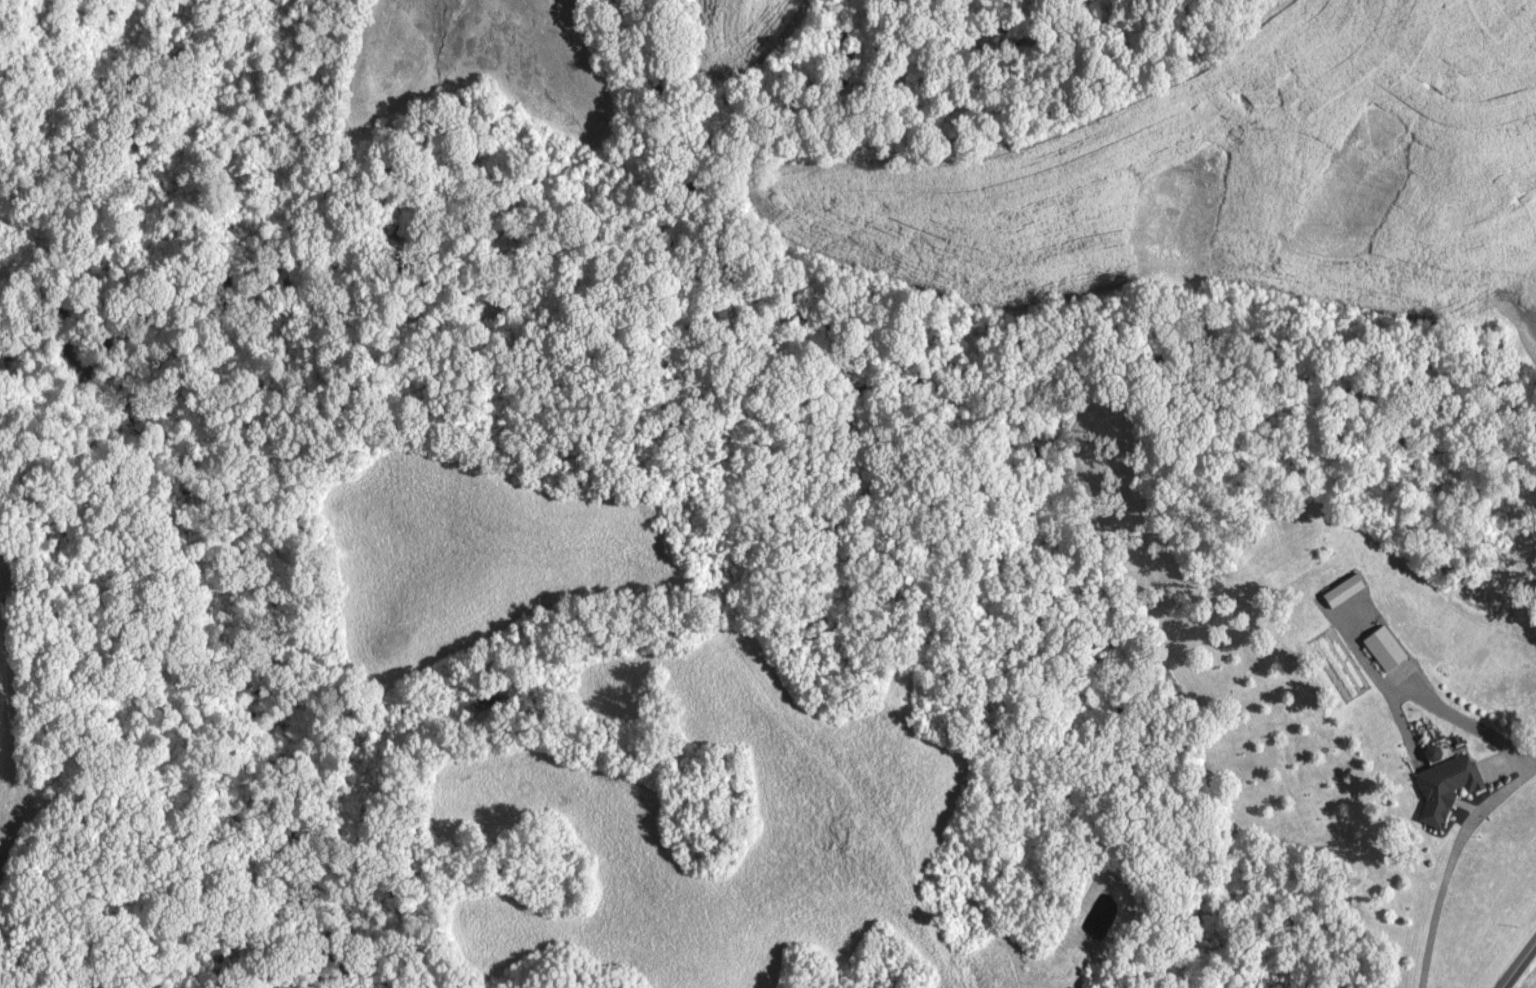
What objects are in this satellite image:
building: (1347, 590)
building: (1388, 648)
building: (1449, 787)
road: (1452, 863)
road: (1520, 966)

